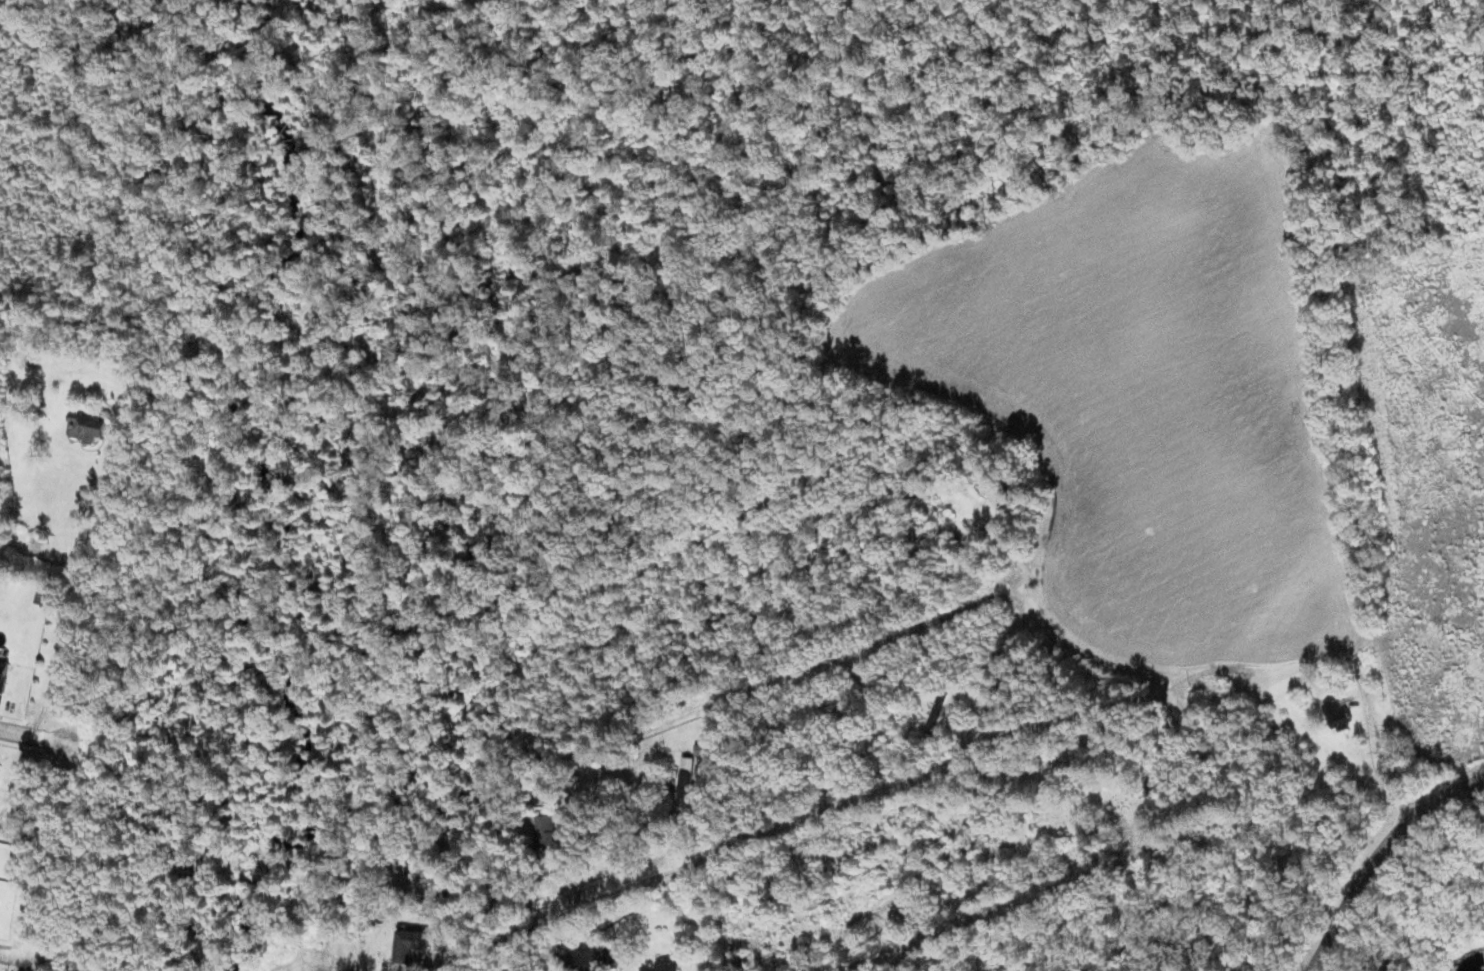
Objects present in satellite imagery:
building: (86, 426)
building: (995, 489)
road: (74, 592)
road: (1173, 667)
building: (3, 674)
road: (788, 676)
building: (1339, 712)
road: (1094, 720)
road: (30, 735)
road: (1373, 747)
road: (1090, 754)
road: (1378, 855)
road: (716, 857)
road: (1012, 906)
building: (411, 944)
road: (15, 952)
building: (668, 965)

